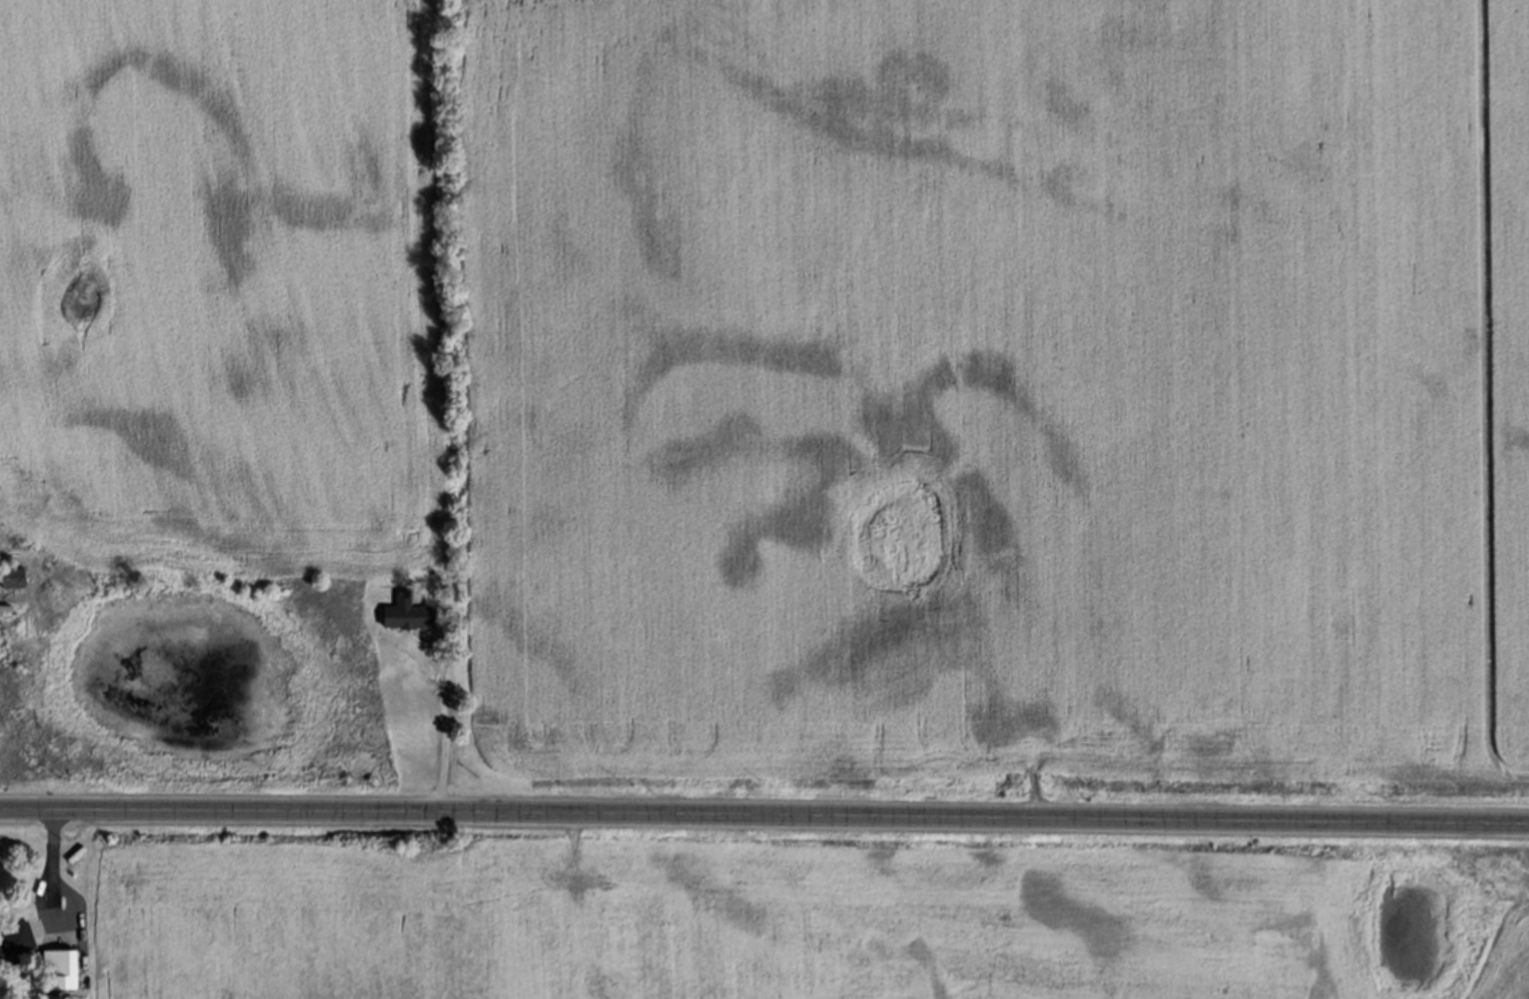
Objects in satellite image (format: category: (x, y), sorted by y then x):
building: (9, 579)
building: (402, 614)
road: (442, 730)
road: (764, 824)
road: (51, 876)
building: (14, 942)
building: (48, 963)

